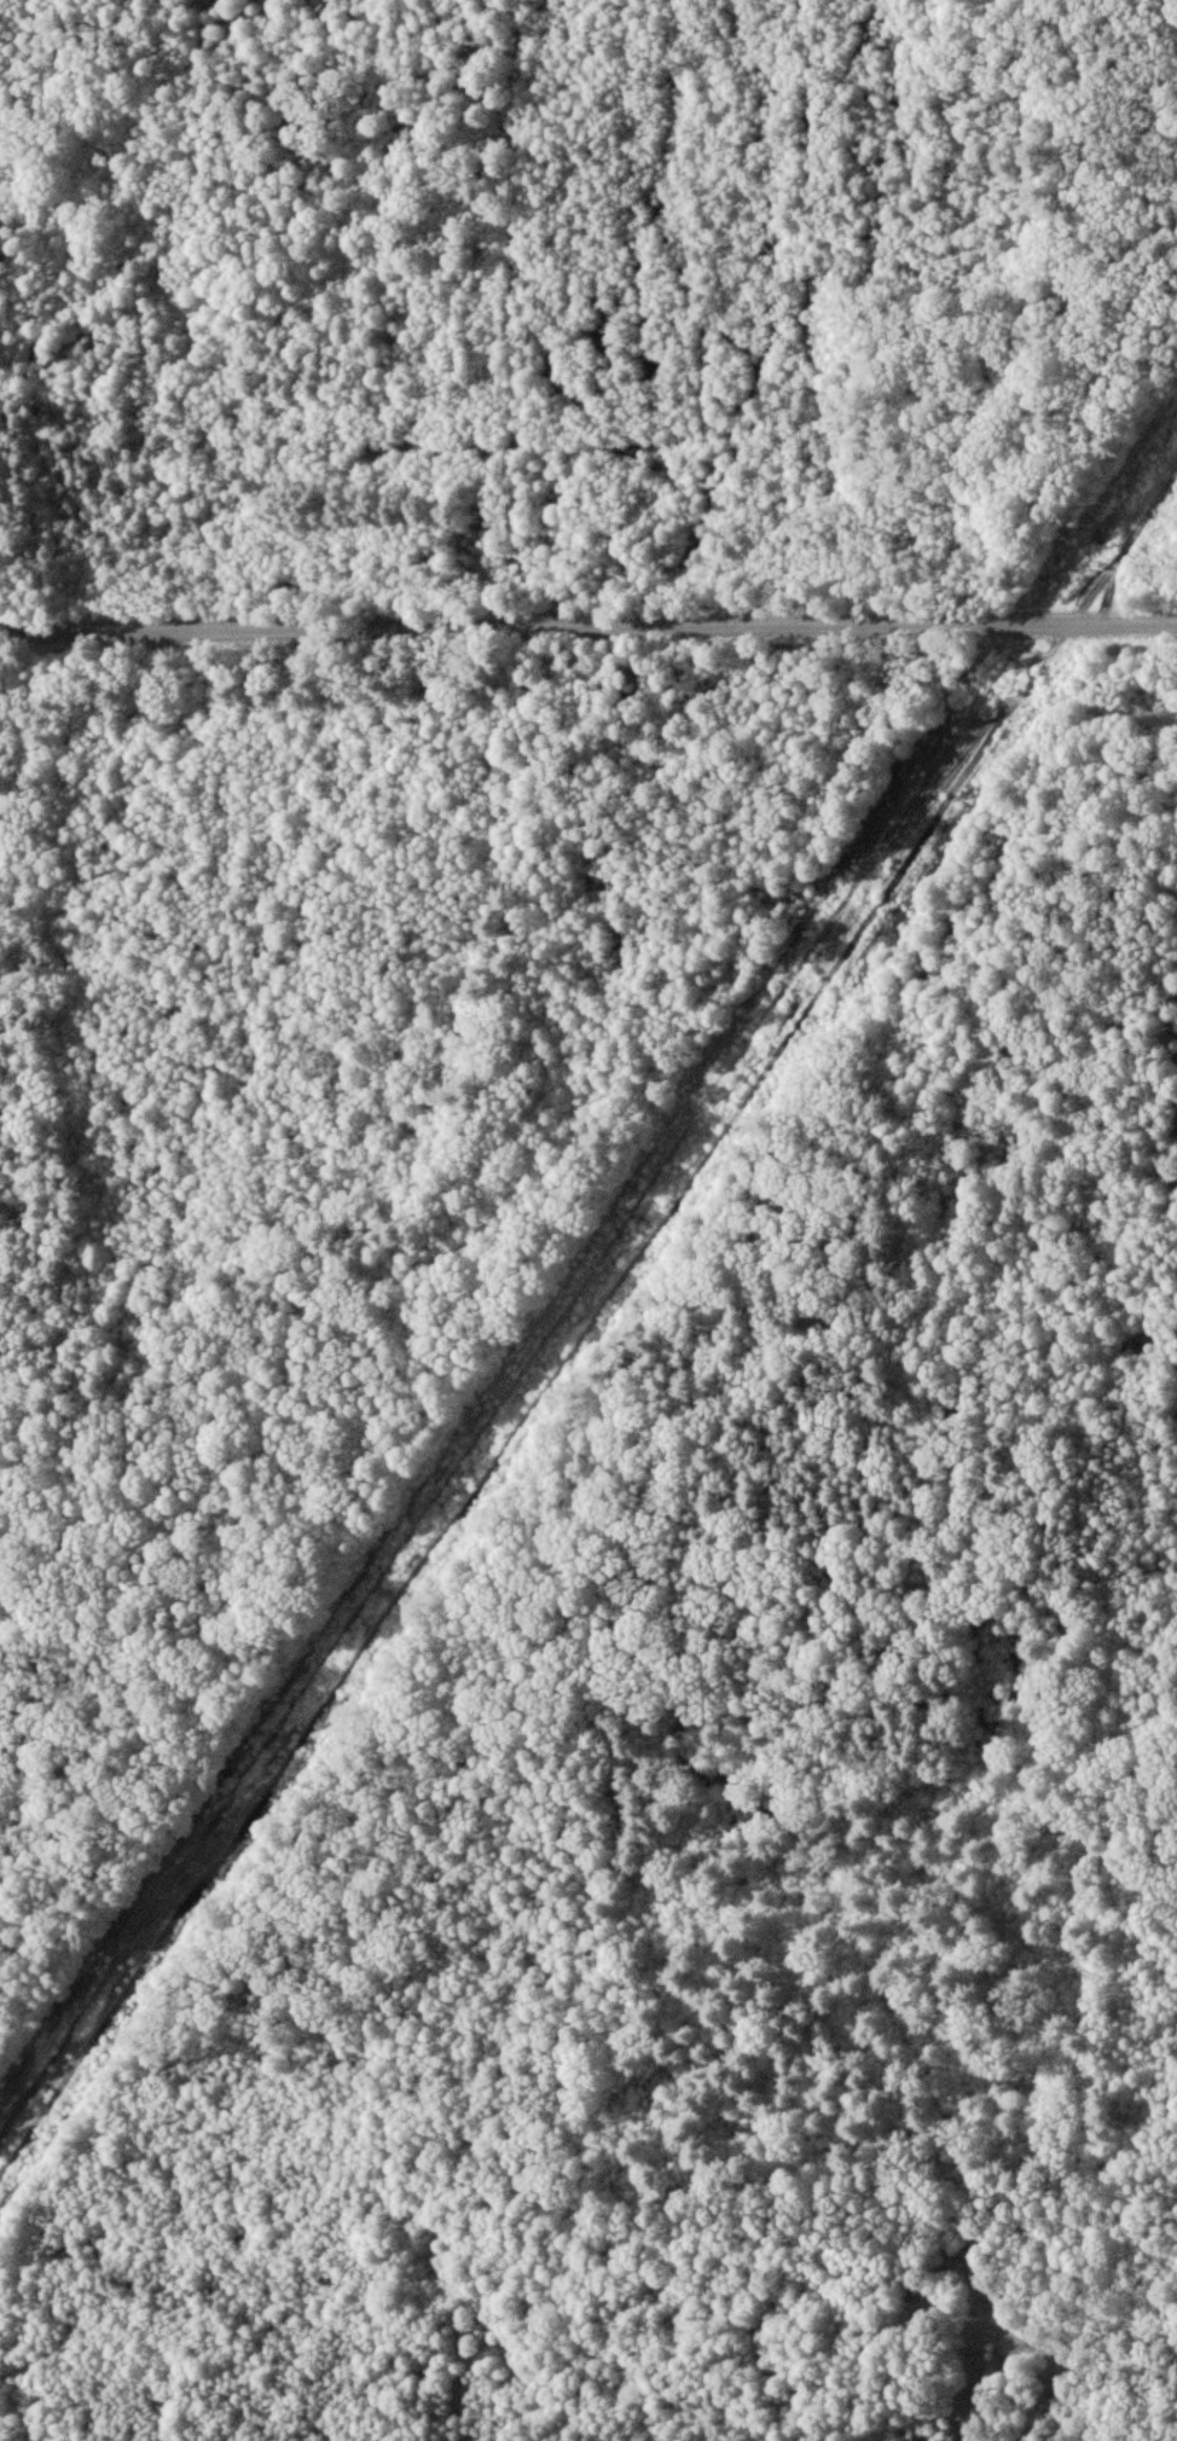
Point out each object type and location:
road: (587, 633)

